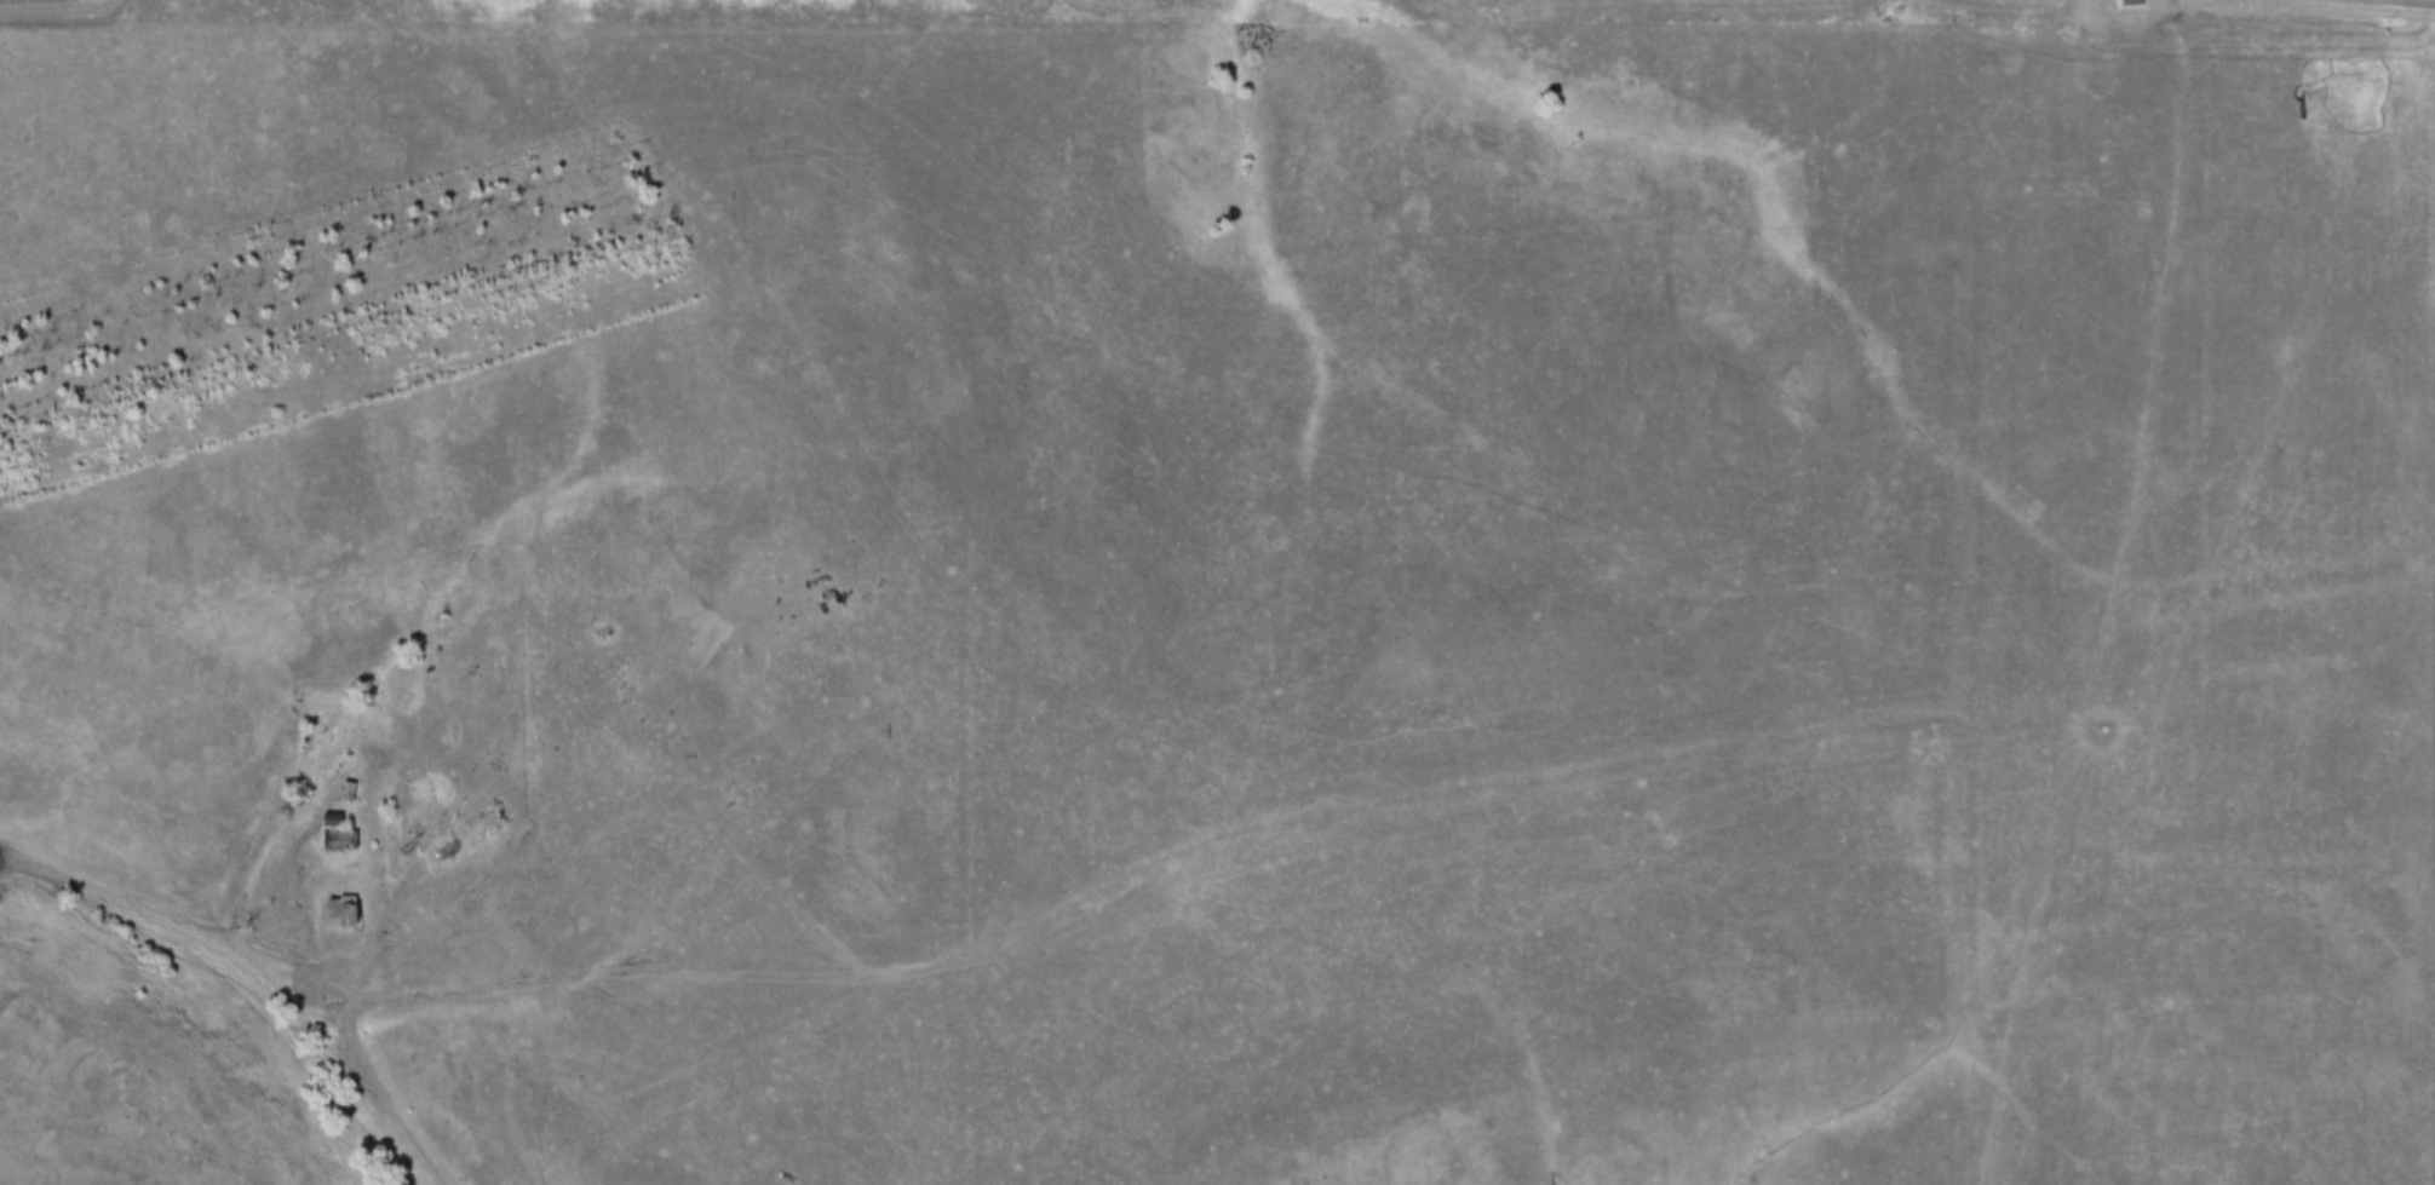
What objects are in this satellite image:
road: (2412, 0)
building: (2121, 4)
road: (921, 522)
building: (338, 783)
building: (328, 828)
building: (436, 847)
building: (441, 853)
building: (333, 905)

